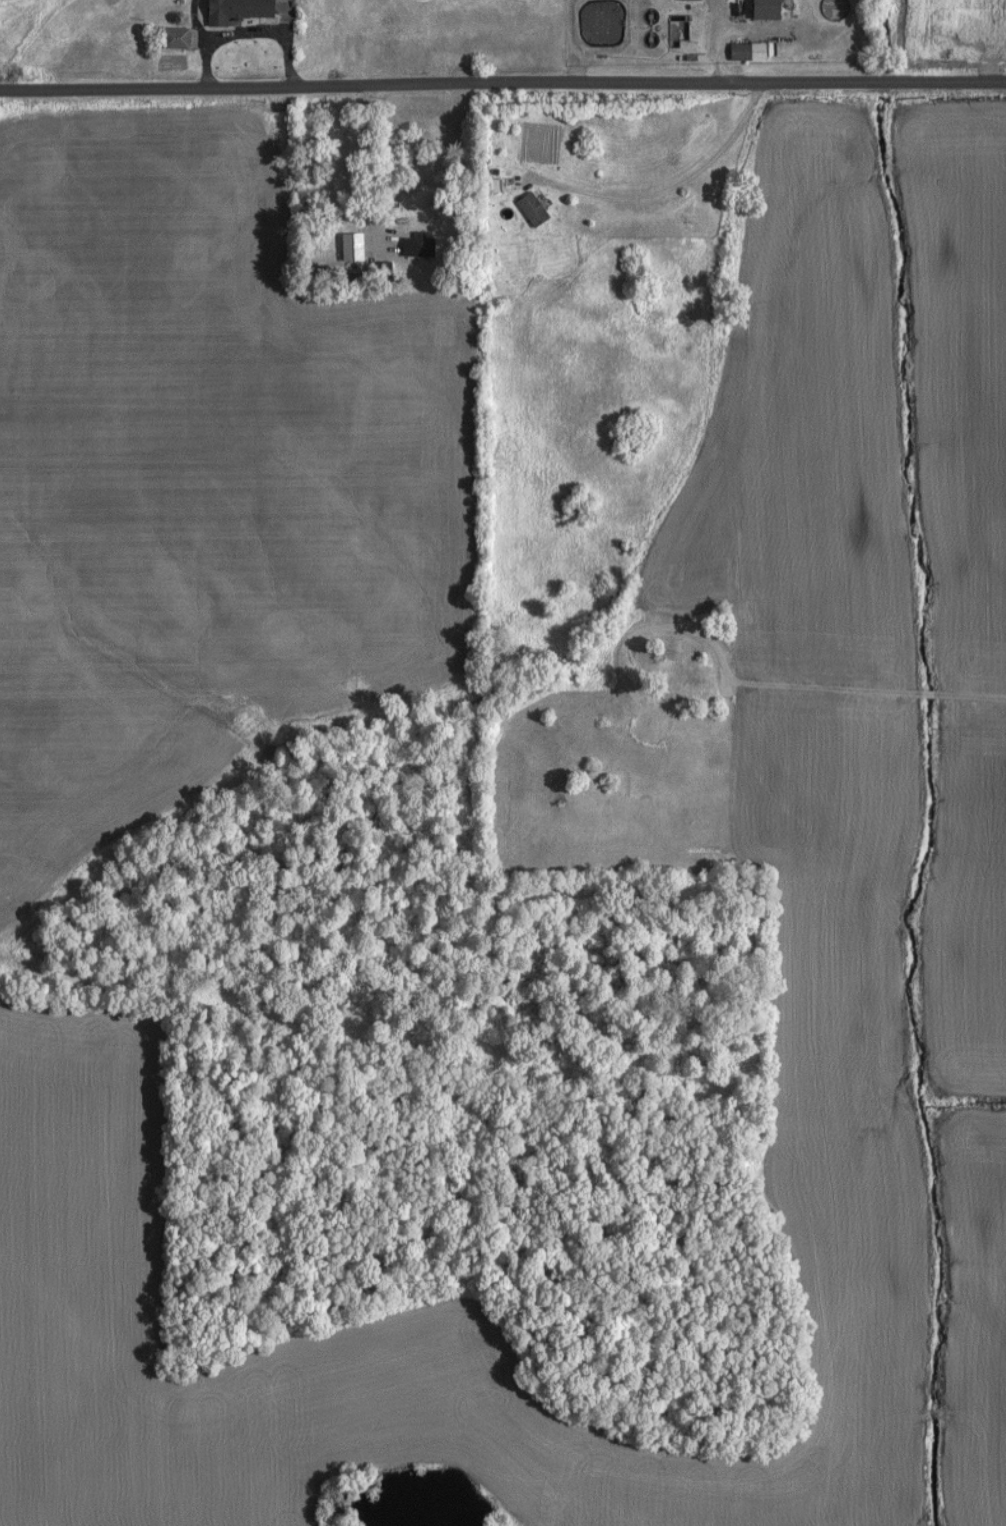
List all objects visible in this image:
building: (756, 9)
building: (228, 10)
building: (671, 30)
building: (167, 38)
building: (739, 51)
road: (502, 80)
road: (373, 173)
road: (671, 188)
building: (523, 210)
building: (396, 255)
road: (865, 690)

